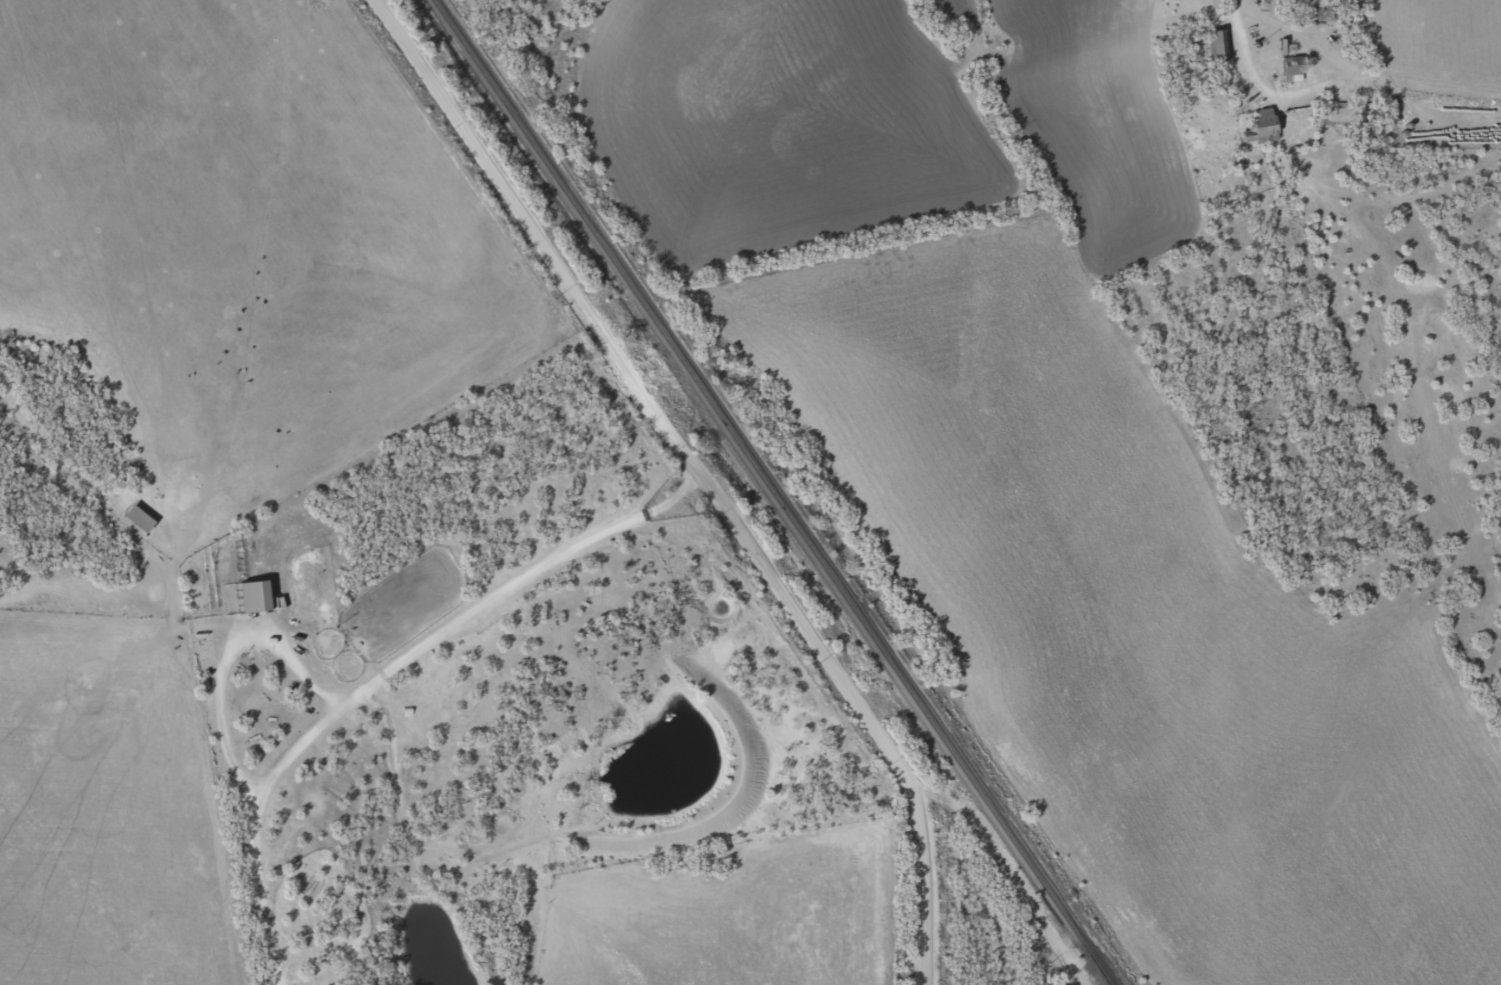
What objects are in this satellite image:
building: (1213, 45)
building: (1288, 68)
building: (1260, 121)
road: (1407, 279)
railway: (768, 484)
road: (672, 488)
building: (250, 595)
railway: (1103, 978)
railway: (1104, 978)

